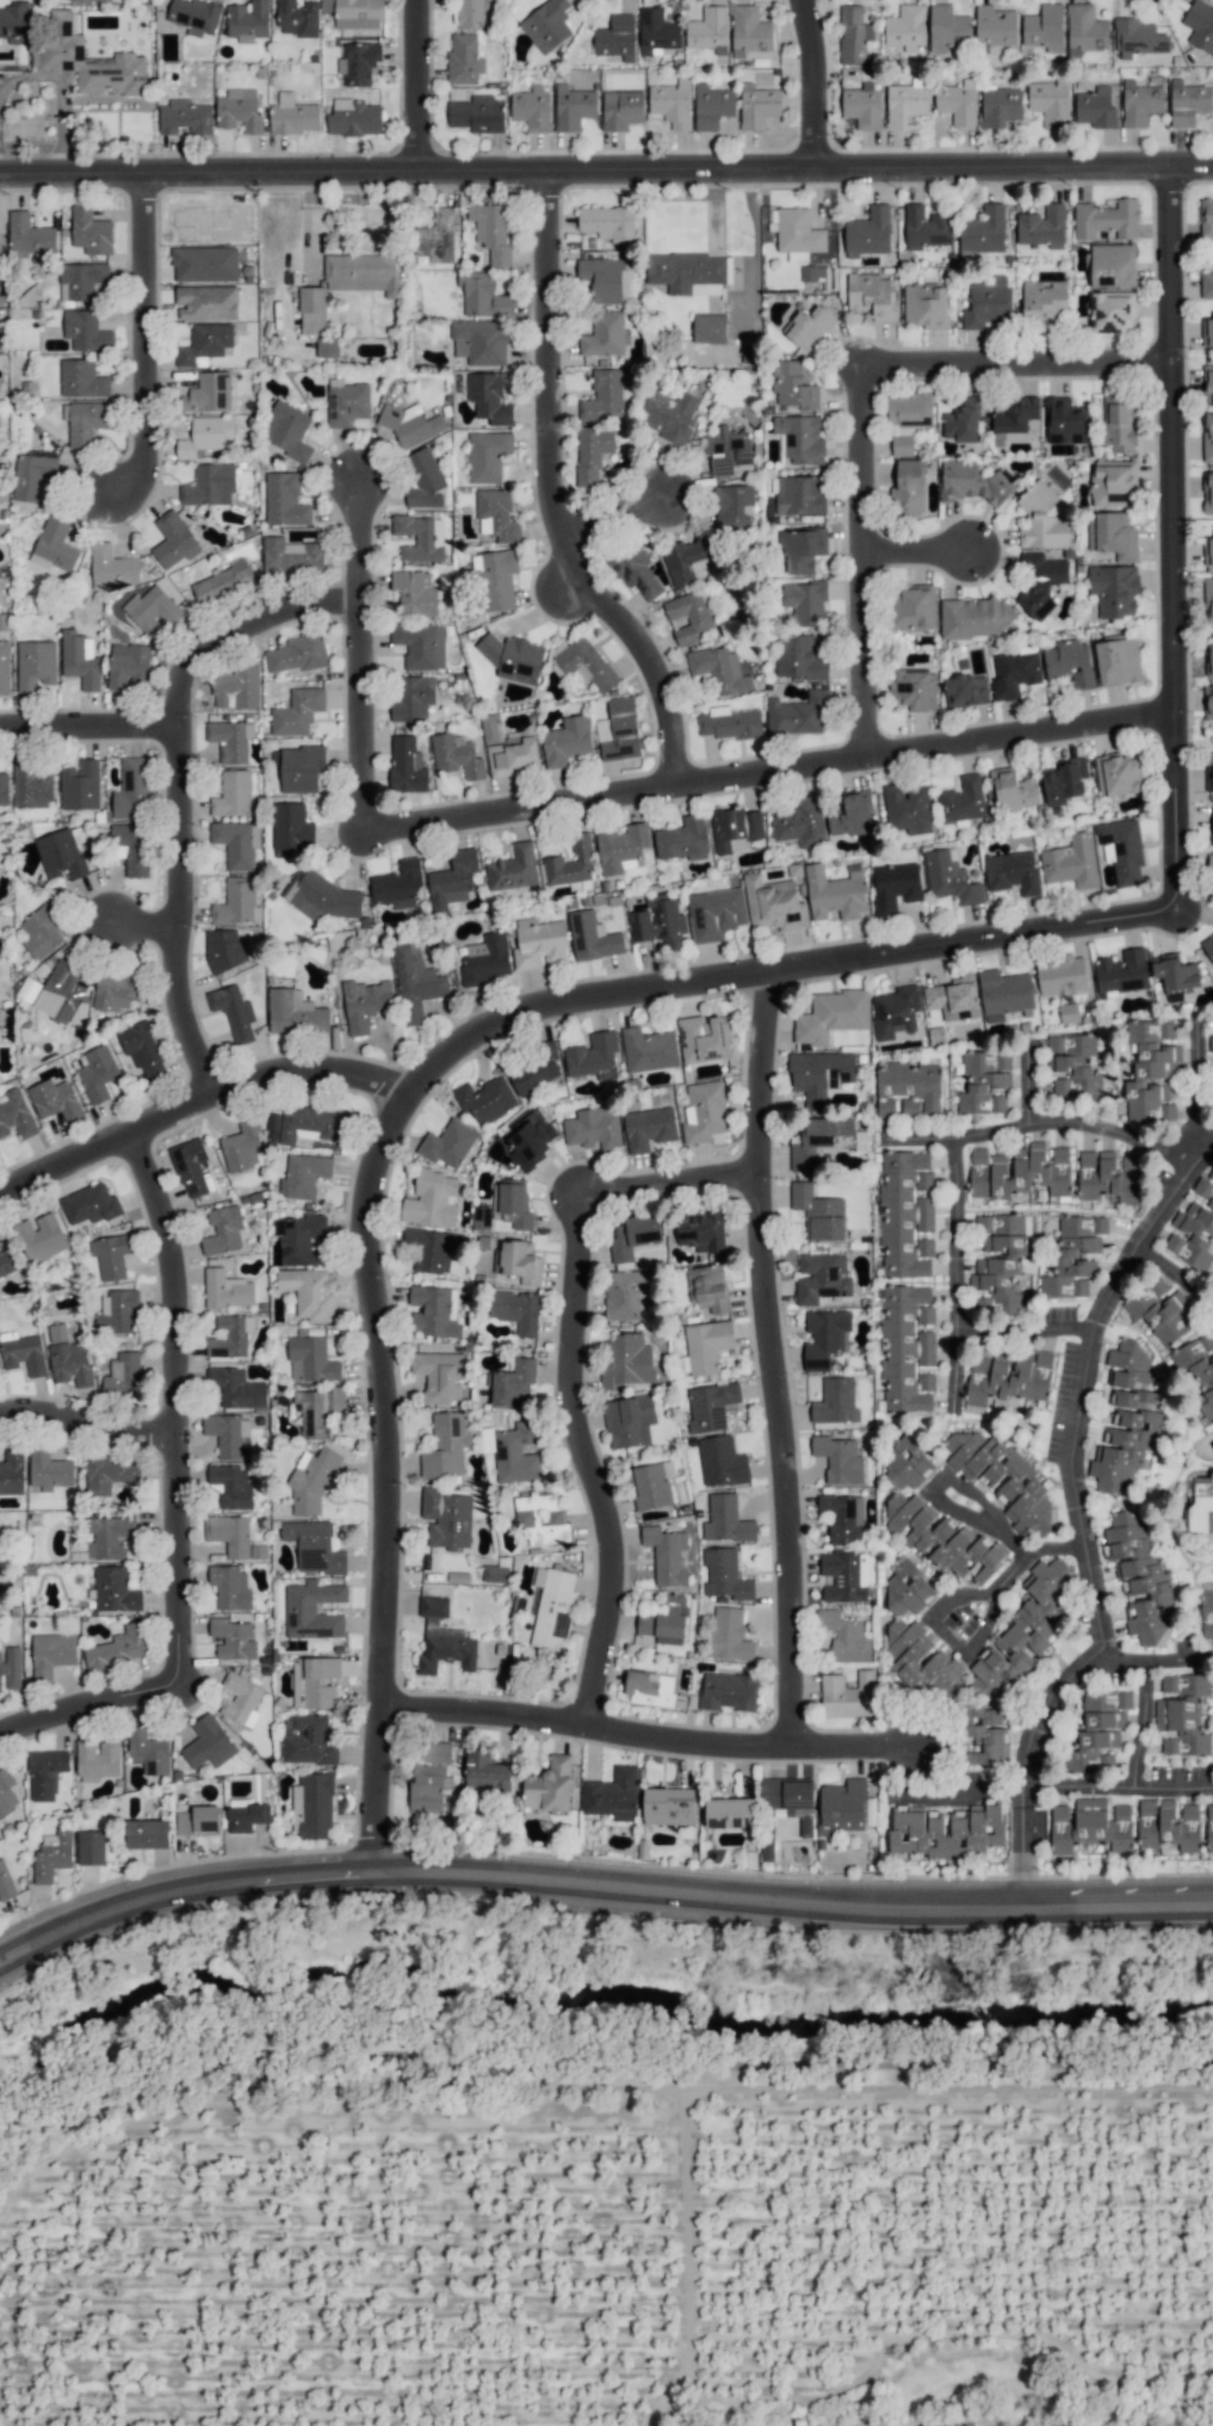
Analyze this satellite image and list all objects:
building: (78, 0)
building: (327, 6)
building: (359, 13)
building: (470, 14)
building: (194, 16)
building: (297, 18)
building: (248, 20)
building: (16, 21)
building: (546, 25)
building: (1200, 25)
building: (995, 26)
building: (906, 27)
building: (947, 27)
building: (1044, 27)
building: (1085, 29)
building: (708, 30)
building: (657, 31)
building: (749, 31)
building: (853, 36)
building: (615, 37)
building: (1139, 37)
building: (63, 43)
building: (35, 57)
building: (463, 58)
building: (358, 62)
road: (813, 84)
road: (420, 86)
building: (1050, 101)
building: (1188, 101)
building: (672, 103)
building: (906, 103)
building: (958, 103)
building: (1140, 103)
building: (864, 105)
building: (573, 106)
building: (712, 106)
building: (1000, 106)
building: (759, 107)
building: (1095, 107)
building: (532, 109)
building: (239, 110)
building: (621, 110)
building: (477, 113)
building: (293, 116)
building: (185, 117)
building: (354, 118)
road: (606, 171)
building: (1206, 218)
building: (1106, 220)
building: (607, 222)
building: (927, 227)
building: (1042, 227)
building: (91, 232)
building: (491, 232)
building: (983, 232)
building: (796, 233)
building: (867, 233)
building: (29, 235)
building: (437, 235)
building: (204, 264)
building: (1112, 264)
building: (687, 272)
building: (810, 272)
building: (606, 278)
building: (81, 279)
building: (347, 284)
building: (1206, 284)
building: (482, 295)
building: (871, 295)
building: (1044, 300)
building: (206, 302)
building: (989, 303)
building: (926, 304)
building: (1113, 311)
building: (807, 327)
building: (708, 328)
building: (86, 331)
building: (1207, 332)
building: (604, 334)
road: (150, 341)
building: (204, 342)
building: (479, 342)
building: (327, 346)
road: (1023, 362)
building: (81, 378)
building: (1208, 384)
building: (793, 385)
building: (208, 393)
building: (604, 396)
building: (488, 397)
building: (346, 402)
building: (668, 415)
building: (1013, 416)
building: (908, 419)
building: (961, 420)
building: (86, 421)
building: (1065, 421)
building: (410, 424)
building: (1119, 425)
building: (286, 430)
building: (205, 436)
building: (800, 438)
building: (1207, 438)
building: (726, 450)
building: (592, 452)
building: (487, 455)
building: (33, 475)
building: (423, 479)
building: (974, 482)
building: (1113, 483)
building: (210, 484)
building: (908, 486)
building: (1207, 493)
road: (559, 494)
building: (799, 494)
building: (285, 500)
building: (732, 507)
building: (496, 516)
road: (623, 517)
building: (1041, 519)
building: (1113, 535)
road: (1180, 536)
building: (420, 537)
building: (173, 539)
building: (54, 545)
building: (800, 549)
building: (1208, 551)
road: (927, 553)
building: (291, 556)
road: (872, 558)
building: (686, 560)
building: (112, 568)
building: (635, 569)
building: (496, 579)
building: (222, 581)
building: (1040, 584)
building: (1114, 589)
building: (414, 592)
building: (1208, 600)
building: (804, 603)
building: (911, 607)
building: (151, 609)
building: (689, 616)
building: (972, 617)
building: (4, 621)
building: (421, 644)
building: (298, 653)
building: (1211, 654)
road: (366, 656)
building: (513, 656)
building: (799, 658)
building: (80, 660)
building: (1118, 661)
building: (584, 662)
building: (1069, 662)
building: (36, 663)
building: (128, 665)
building: (4, 667)
building: (720, 669)
building: (1013, 671)
building: (236, 686)
building: (914, 689)
building: (965, 690)
building: (411, 697)
building: (1208, 704)
building: (297, 711)
building: (798, 714)
building: (730, 723)
road: (92, 727)
building: (618, 730)
building: (228, 740)
building: (565, 740)
building: (508, 748)
building: (457, 755)
building: (407, 766)
building: (301, 767)
road: (774, 770)
building: (1119, 774)
building: (1208, 778)
building: (1064, 780)
building: (32, 785)
building: (80, 785)
road: (185, 786)
building: (4, 789)
building: (131, 790)
building: (1013, 790)
building: (233, 795)
building: (963, 800)
building: (906, 808)
building: (850, 815)
building: (798, 822)
building: (735, 828)
building: (1212, 828)
building: (291, 829)
building: (683, 839)
building: (237, 842)
building: (130, 847)
building: (623, 848)
building: (1122, 850)
building: (61, 854)
building: (1071, 862)
building: (569, 863)
building: (1211, 864)
building: (513, 869)
building: (1011, 871)
building: (949, 877)
building: (453, 879)
building: (397, 884)
building: (895, 888)
building: (835, 893)
building: (321, 896)
building: (235, 901)
building: (774, 903)
building: (714, 913)
building: (658, 921)
road: (149, 926)
building: (41, 931)
building: (593, 937)
building: (539, 943)
building: (1207, 946)
building: (485, 958)
building: (1122, 973)
building: (1060, 975)
building: (1176, 976)
building: (415, 984)
building: (116, 990)
building: (1004, 992)
building: (60, 993)
building: (953, 998)
building: (365, 1004)
building: (234, 1011)
building: (895, 1011)
building: (1069, 1012)
building: (295, 1013)
building: (831, 1016)
building: (704, 1038)
building: (1211, 1043)
building: (143, 1049)
building: (648, 1049)
building: (593, 1056)
building: (1076, 1067)
building: (534, 1070)
building: (1151, 1070)
building: (98, 1073)
building: (819, 1075)
building: (984, 1082)
road: (420, 1086)
building: (908, 1087)
road: (1026, 1087)
building: (55, 1099)
building: (485, 1099)
road: (199, 1101)
building: (704, 1111)
building: (16, 1115)
building: (305, 1124)
building: (593, 1128)
building: (649, 1128)
road: (917, 1137)
building: (530, 1140)
building: (817, 1140)
building: (447, 1143)
building: (241, 1146)
road: (951, 1146)
building: (190, 1165)
building: (1019, 1172)
building: (304, 1175)
building: (1109, 1177)
road: (668, 1185)
building: (431, 1199)
building: (89, 1204)
building: (512, 1204)
building: (818, 1212)
building: (905, 1214)
building: (1194, 1228)
building: (223, 1230)
building: (700, 1230)
building: (41, 1236)
building: (633, 1236)
building: (298, 1237)
building: (433, 1248)
building: (111, 1255)
building: (1073, 1255)
building: (518, 1261)
building: (6, 1263)
building: (998, 1263)
road: (1177, 1276)
building: (821, 1277)
building: (707, 1288)
building: (225, 1289)
building: (309, 1292)
building: (626, 1294)
building: (116, 1310)
building: (434, 1310)
building: (516, 1310)
road: (1028, 1327)
building: (230, 1337)
building: (824, 1338)
building: (706, 1345)
building: (906, 1347)
building: (23, 1352)
building: (68, 1357)
road: (770, 1358)
building: (311, 1360)
building: (626, 1360)
building: (1199, 1368)
building: (440, 1375)
building: (123, 1376)
building: (1009, 1376)
building: (513, 1384)
building: (236, 1388)
building: (835, 1401)
road: (177, 1405)
building: (710, 1406)
building: (317, 1409)
building: (629, 1420)
building: (1126, 1420)
road: (88, 1425)
building: (224, 1433)
building: (445, 1445)
building: (516, 1452)
road: (1077, 1458)
building: (838, 1459)
building: (722, 1462)
building: (906, 1465)
road: (587, 1467)
building: (49, 1470)
building: (12, 1471)
building: (110, 1475)
building: (311, 1480)
building: (1027, 1482)
building: (652, 1484)
building: (233, 1486)
building: (1201, 1505)
building: (842, 1517)
building: (446, 1518)
building: (541, 1519)
building: (725, 1520)
building: (229, 1533)
road: (1003, 1535)
building: (109, 1536)
building: (942, 1539)
building: (315, 1547)
building: (666, 1555)
building: (494, 1573)
building: (725, 1574)
building: (844, 1576)
building: (1140, 1578)
building: (906, 1586)
building: (230, 1587)
building: (115, 1589)
building: (552, 1606)
building: (312, 1610)
building: (1207, 1610)
road: (933, 1615)
building: (666, 1621)
building: (1025, 1631)
building: (729, 1635)
building: (844, 1636)
building: (231, 1638)
building: (443, 1640)
building: (118, 1648)
building: (52, 1653)
road: (1150, 1659)
building: (10, 1668)
building: (314, 1681)
building: (650, 1689)
building: (728, 1691)
building: (848, 1695)
building: (240, 1698)
road: (87, 1704)
building: (1183, 1715)
road: (1137, 1724)
building: (1100, 1730)
building: (985, 1735)
building: (307, 1740)
road: (649, 1741)
building: (208, 1742)
building: (148, 1751)
building: (97, 1759)
building: (485, 1772)
building: (45, 1773)
building: (428, 1777)
building: (549, 1785)
road: (1118, 1790)
building: (7, 1792)
building: (612, 1794)
road: (1023, 1794)
building: (788, 1801)
building: (668, 1805)
building: (312, 1807)
building: (844, 1807)
building: (730, 1813)
building: (246, 1814)
building: (199, 1820)
building: (1168, 1825)
building: (977, 1826)
building: (1090, 1826)
building: (1209, 1827)
building: (148, 1834)
building: (767, 1844)
building: (91, 1847)
building: (52, 1854)
road: (1026, 1857)
building: (5, 1882)
road: (599, 1891)
road: (593, 2052)

